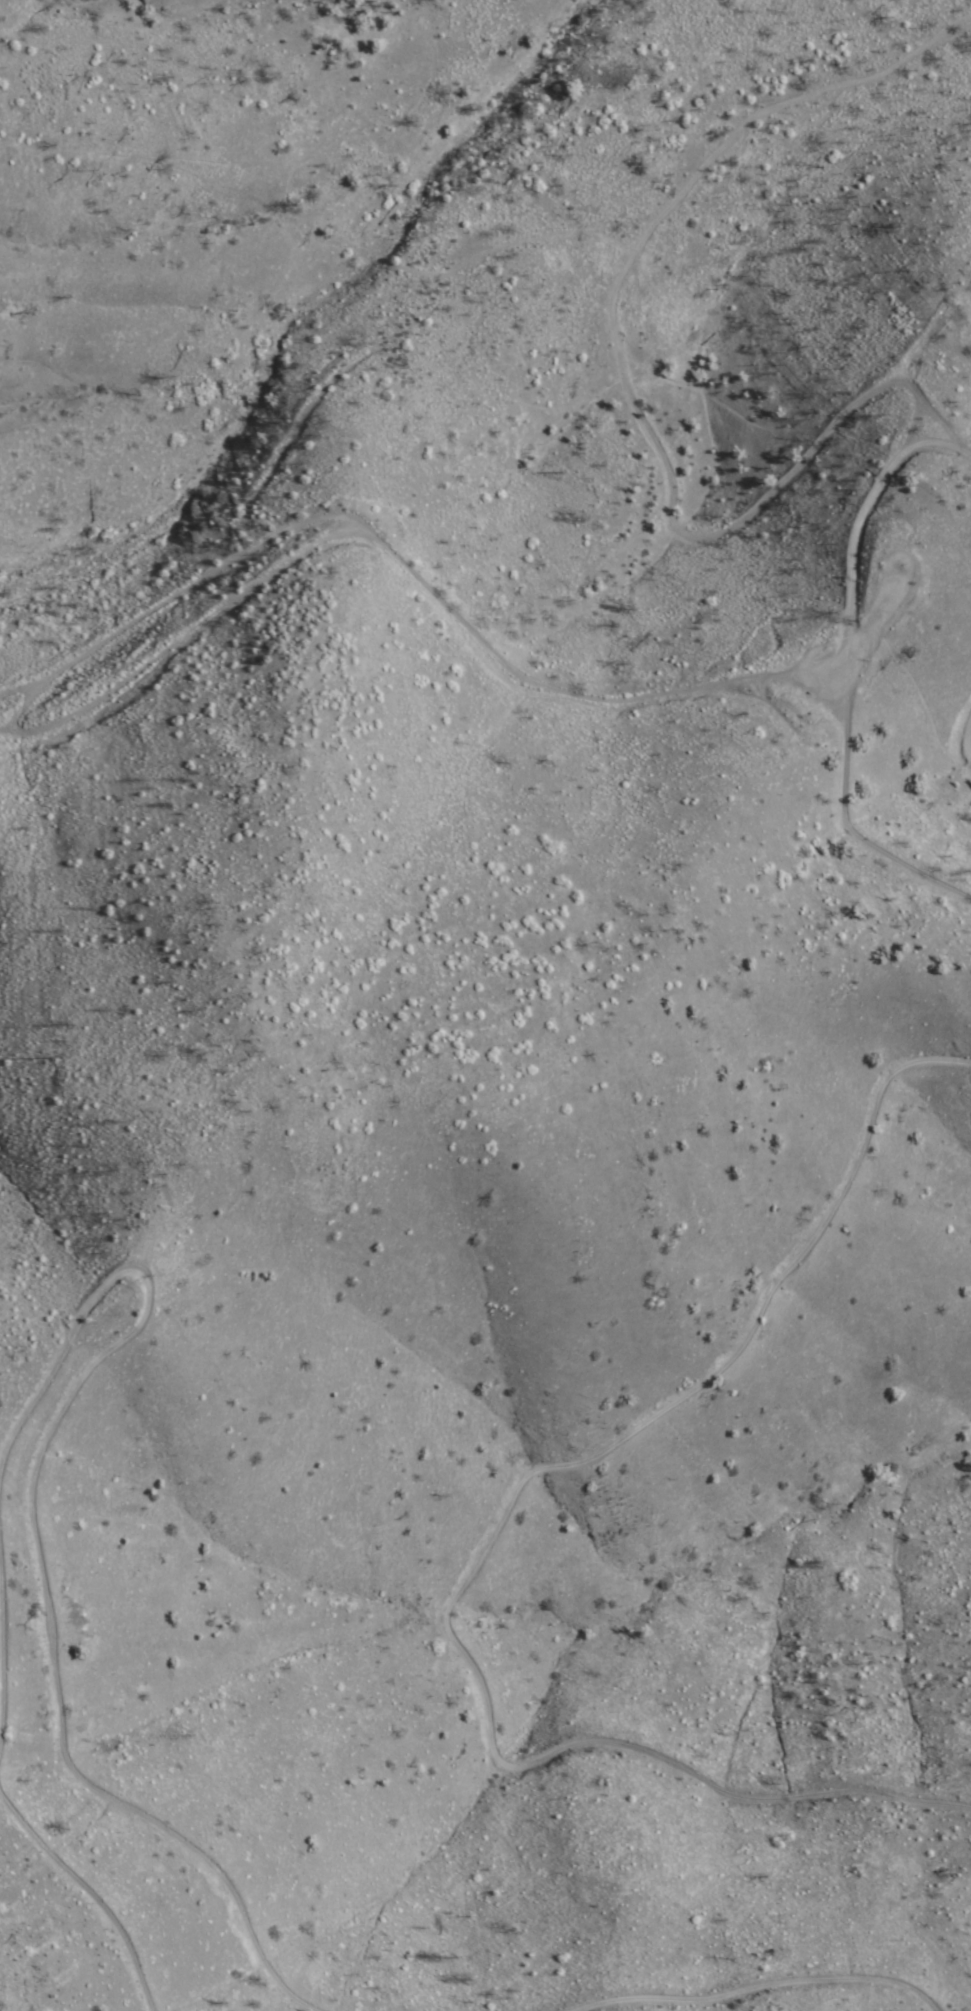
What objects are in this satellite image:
road: (414, 580)
road: (850, 670)
road: (968, 737)
road: (63, 1416)
road: (490, 1542)
road: (86, 1889)
road: (757, 1988)

